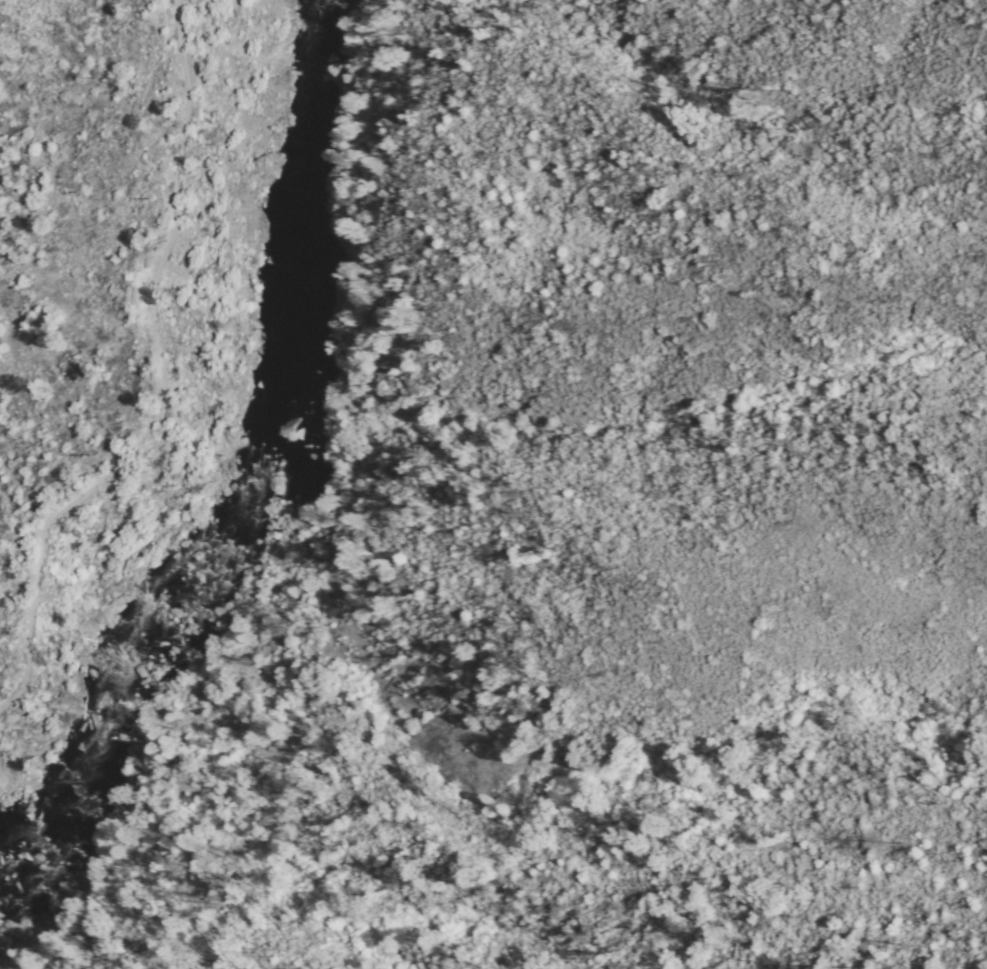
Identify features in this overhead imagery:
road: (156, 380)
river: (267, 477)

